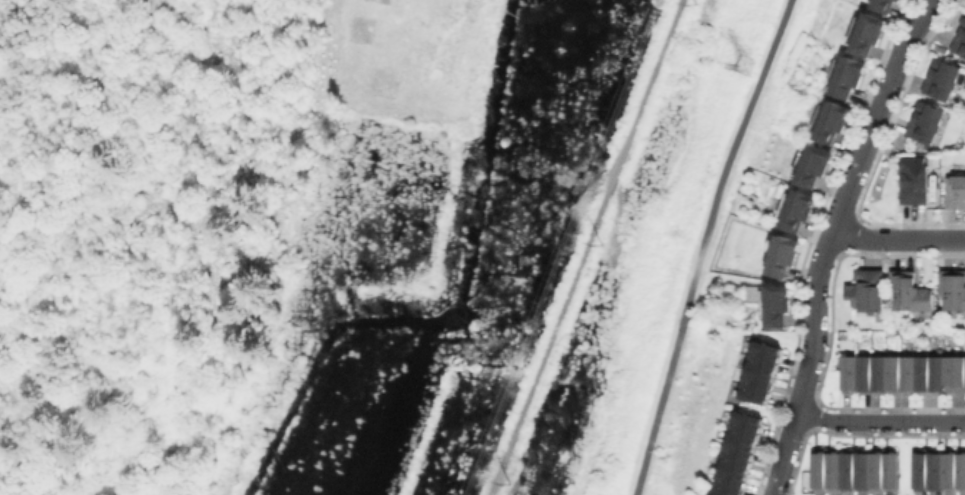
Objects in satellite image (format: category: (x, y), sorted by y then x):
building: (899, 0)
building: (884, 5)
building: (870, 33)
building: (960, 42)
power tower: (741, 64)
building: (849, 78)
building: (943, 80)
building: (837, 124)
building: (926, 124)
building: (814, 164)
building: (914, 181)
building: (956, 192)
building: (797, 210)
road: (829, 239)
road: (898, 240)
road: (703, 244)
building: (783, 255)
building: (954, 290)
building: (868, 291)
building: (911, 293)
building: (775, 306)
building: (763, 374)
building: (903, 375)
road: (880, 421)
building: (740, 455)
building: (856, 471)
building: (940, 471)

